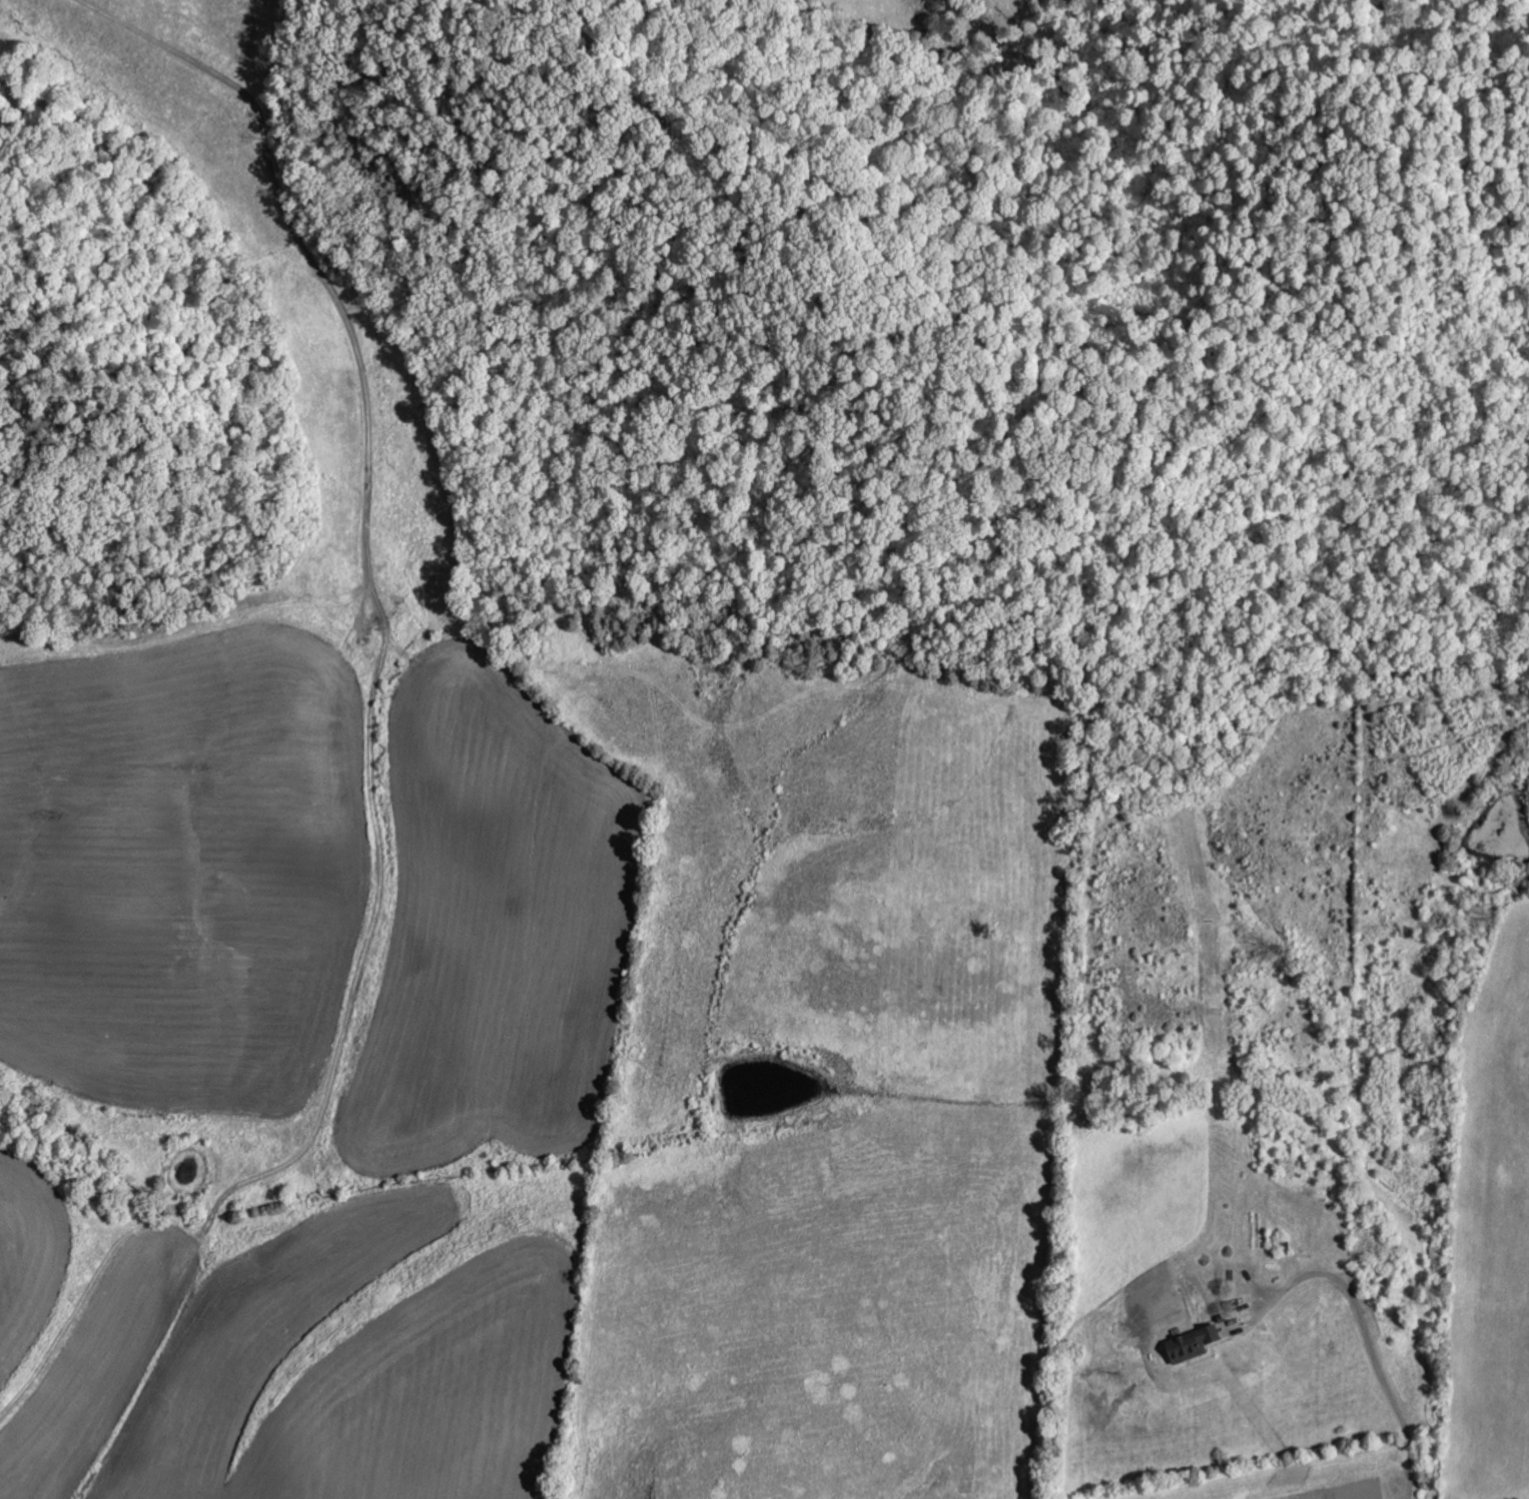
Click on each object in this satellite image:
road: (1429, 1456)

